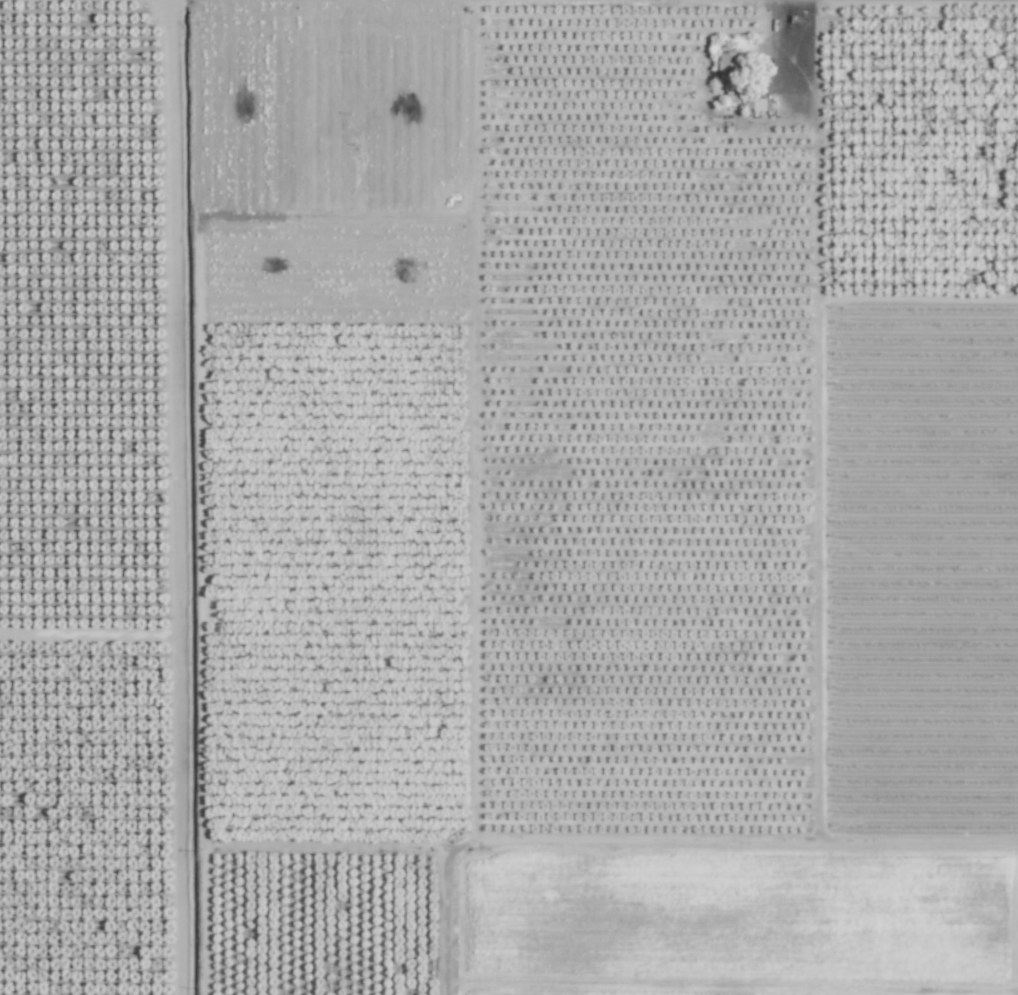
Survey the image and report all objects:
building: (728, 73)

